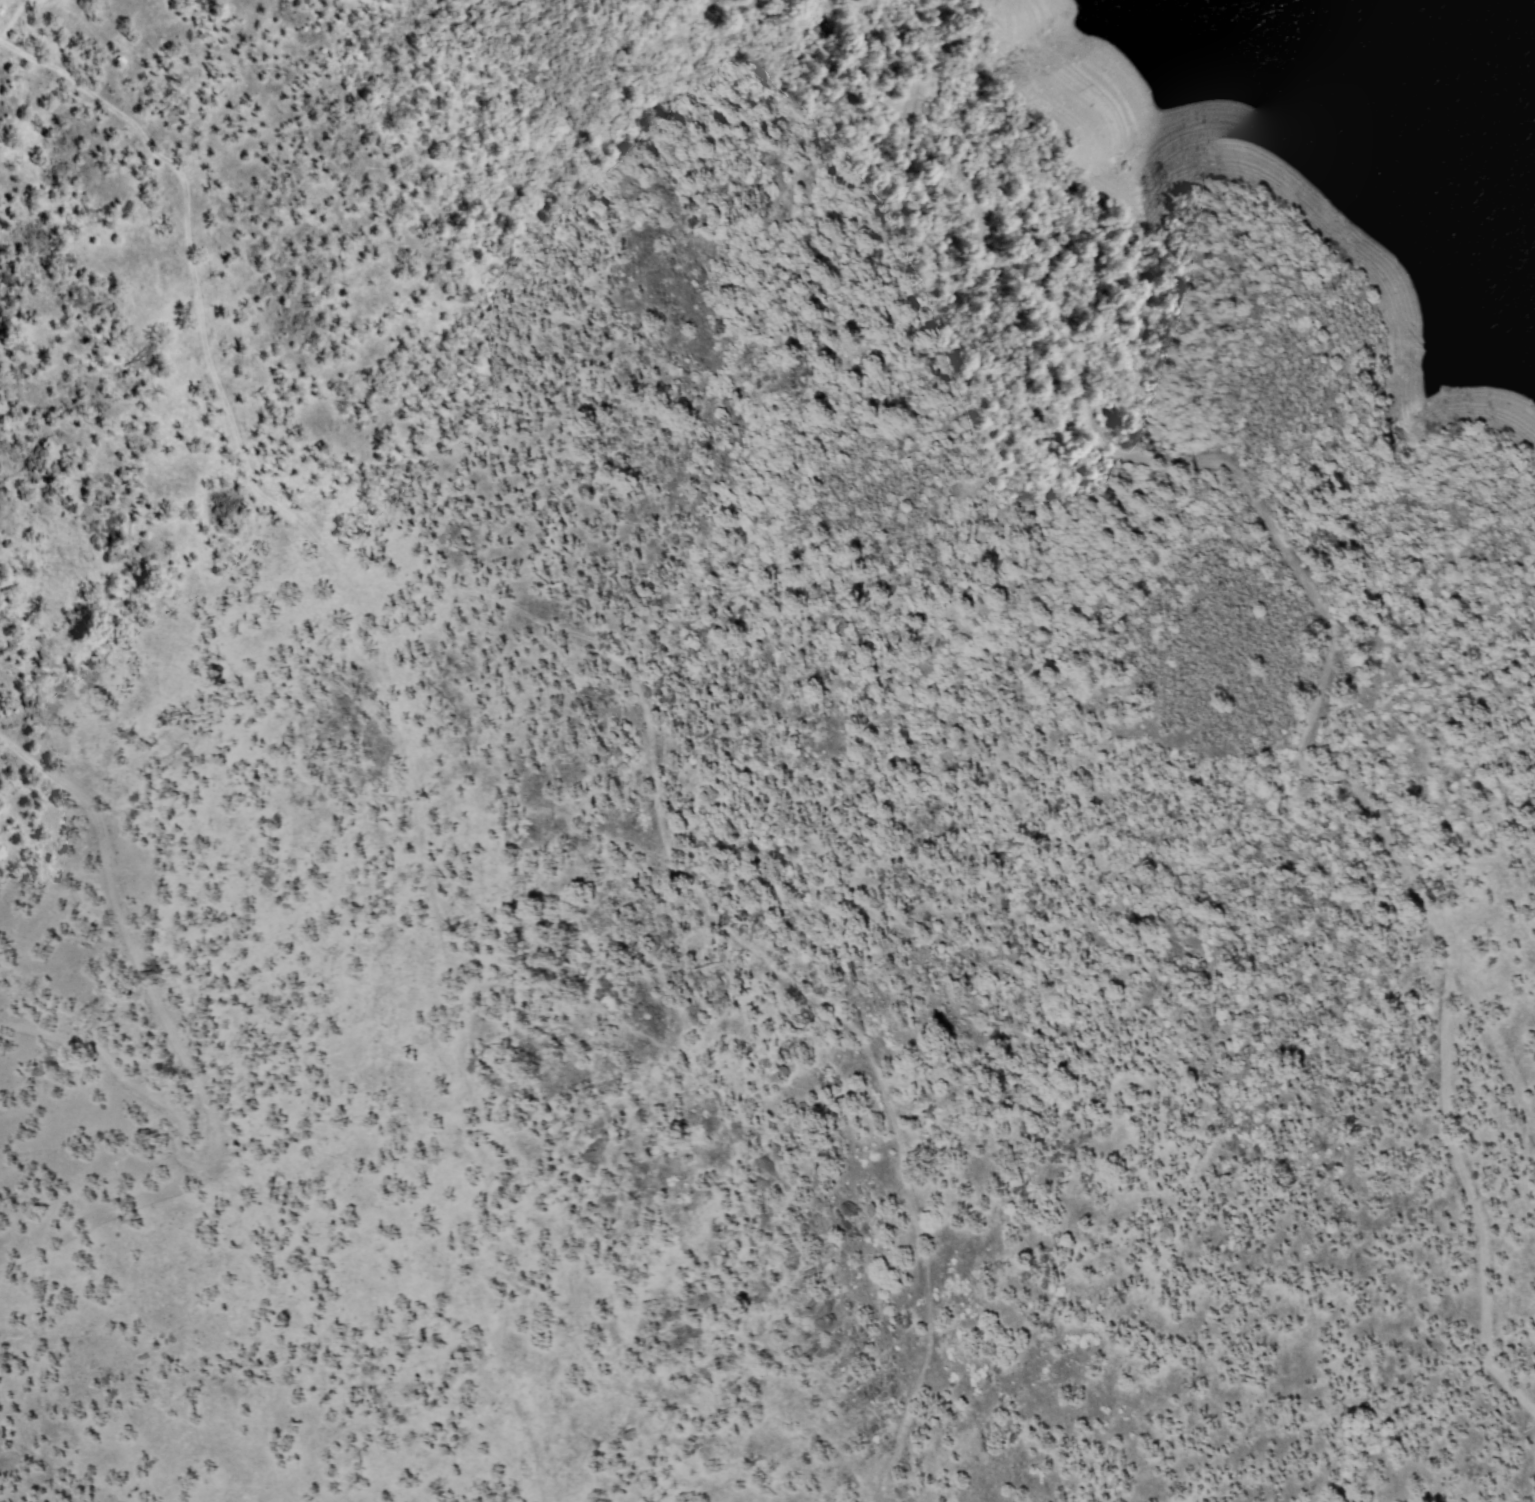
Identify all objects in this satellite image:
building: (117, 60)

